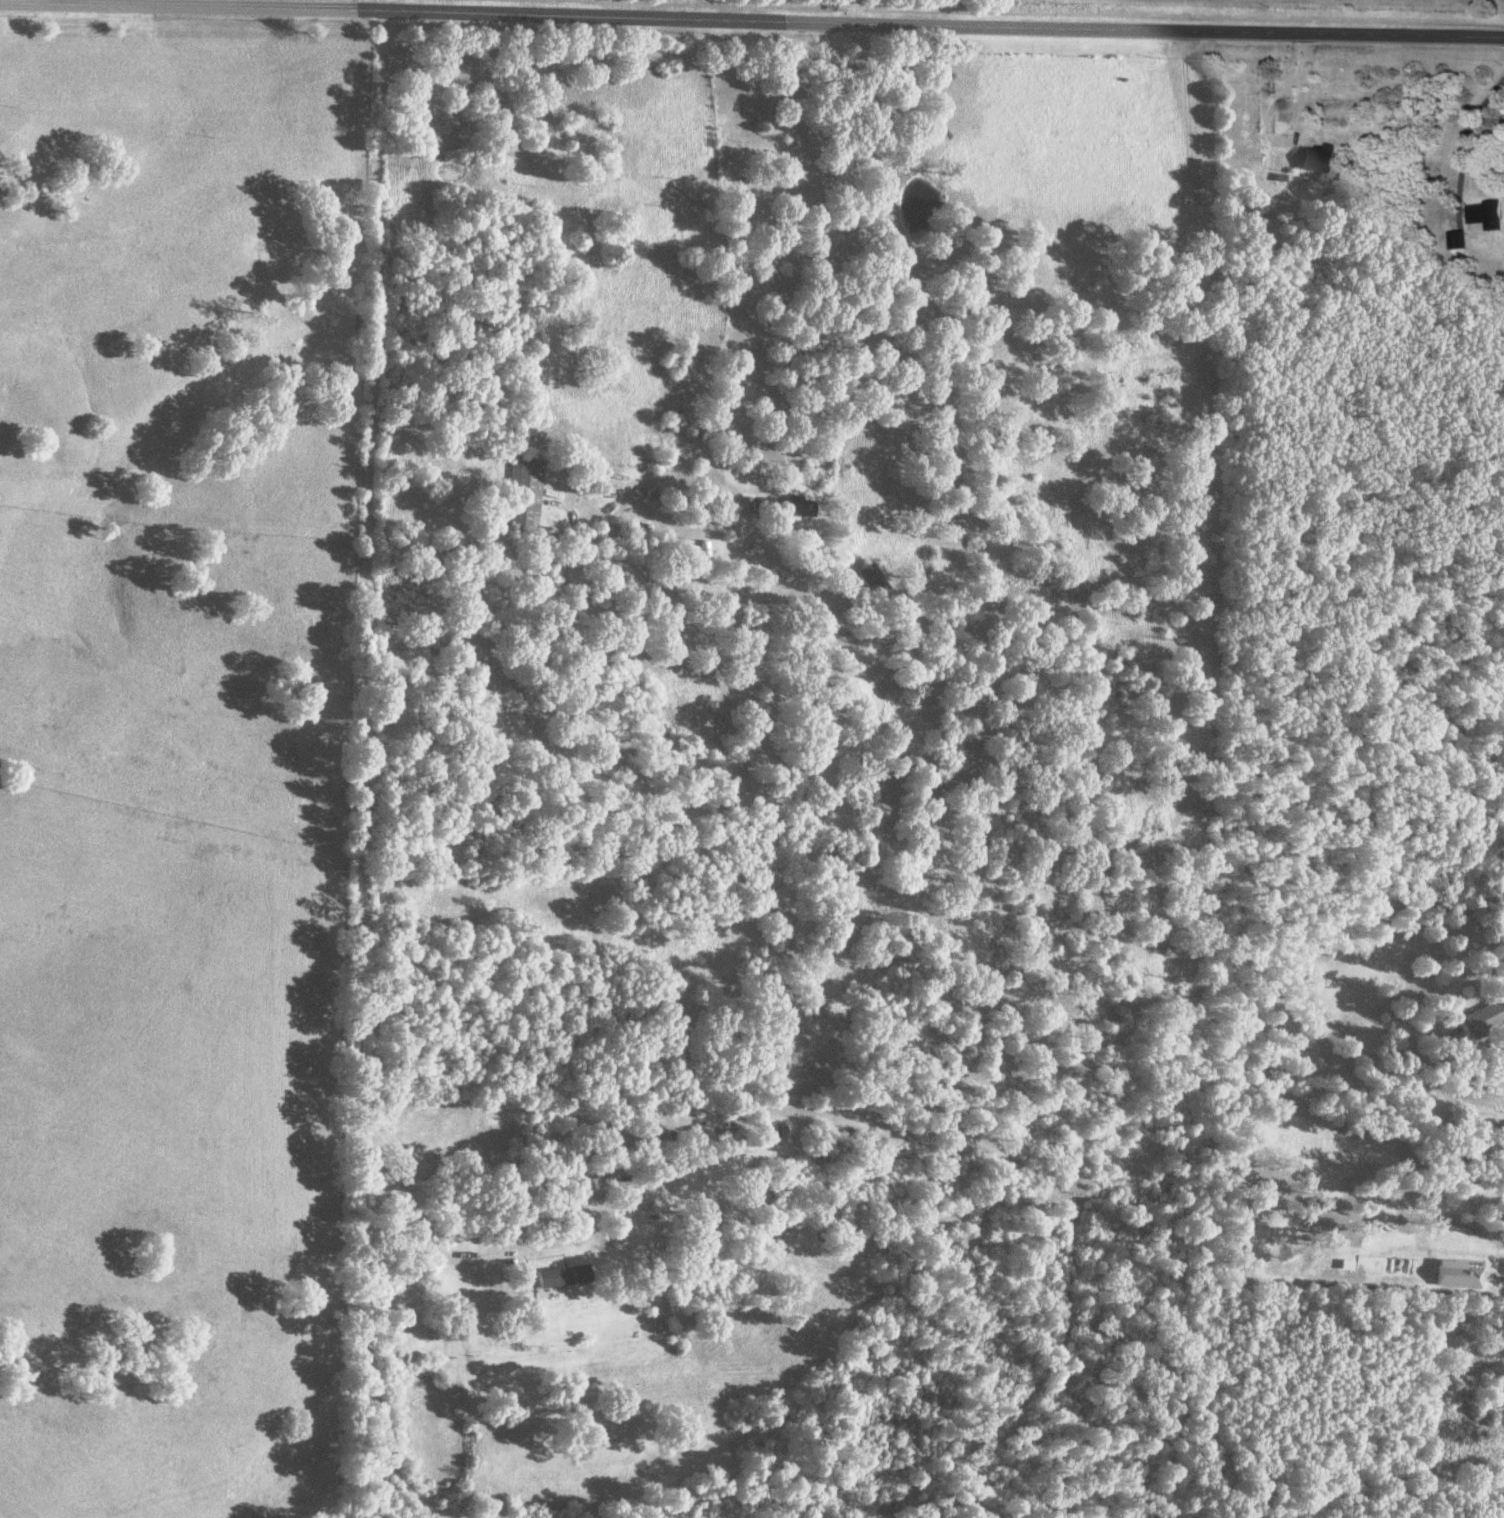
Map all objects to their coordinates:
road: (360, 6)
road: (751, 23)
road: (1468, 129)
road: (1290, 138)
building: (1311, 159)
road: (841, 191)
building: (1480, 216)
building: (1454, 241)
road: (723, 486)
building: (519, 493)
building: (775, 507)
building: (866, 579)
building: (1117, 661)
road: (355, 670)
building: (921, 765)
building: (1476, 1017)
road: (1501, 1271)
building: (555, 1277)

